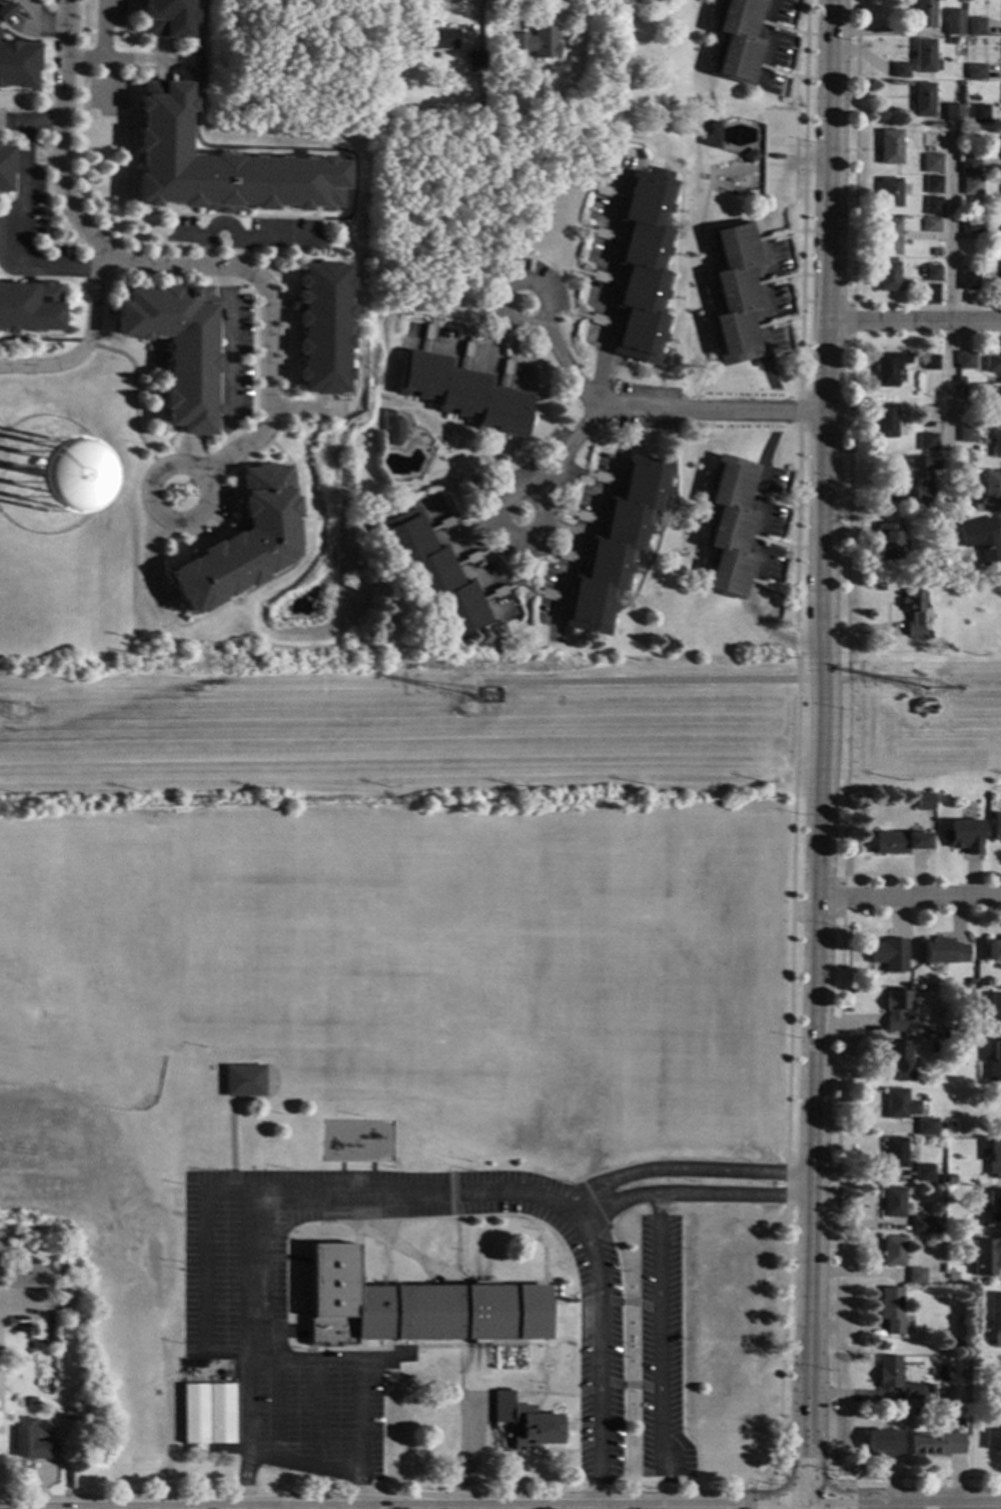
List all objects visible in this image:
road: (135, 2)
road: (7, 7)
road: (712, 8)
road: (32, 11)
building: (4, 12)
road: (126, 12)
building: (924, 13)
building: (167, 18)
building: (954, 20)
road: (54, 23)
road: (19, 25)
building: (974, 25)
building: (434, 39)
building: (736, 40)
building: (950, 40)
road: (770, 41)
building: (534, 42)
road: (198, 50)
road: (711, 51)
road: (103, 55)
building: (925, 55)
road: (84, 59)
road: (150, 60)
road: (166, 60)
building: (476, 60)
road: (703, 60)
road: (37, 61)
building: (17, 66)
building: (900, 69)
building: (975, 71)
building: (922, 99)
road: (30, 108)
building: (952, 112)
building: (978, 113)
road: (104, 117)
road: (12, 120)
road: (15, 121)
building: (965, 129)
building: (712, 137)
building: (889, 146)
road: (854, 151)
building: (750, 157)
road: (760, 157)
road: (774, 158)
road: (808, 158)
road: (744, 160)
building: (930, 162)
road: (661, 164)
road: (669, 164)
building: (968, 164)
building: (220, 166)
building: (4, 167)
road: (14, 172)
building: (932, 184)
building: (970, 184)
building: (888, 191)
road: (803, 199)
building: (931, 205)
road: (24, 206)
road: (675, 211)
road: (300, 216)
building: (902, 220)
building: (999, 220)
building: (930, 224)
building: (971, 224)
road: (218, 226)
road: (291, 232)
building: (887, 235)
road: (189, 237)
road: (279, 241)
road: (763, 250)
building: (934, 251)
road: (708, 253)
road: (255, 254)
road: (673, 254)
building: (644, 265)
building: (1000, 265)
road: (167, 266)
road: (291, 267)
building: (932, 272)
road: (553, 276)
building: (886, 276)
road: (34, 277)
building: (968, 280)
road: (613, 283)
road: (267, 285)
road: (950, 289)
road: (241, 291)
building: (733, 294)
road: (707, 296)
road: (670, 297)
road: (704, 299)
road: (214, 301)
road: (847, 302)
road: (232, 303)
building: (29, 306)
road: (556, 309)
road: (467, 318)
road: (915, 320)
road: (359, 321)
road: (511, 324)
building: (323, 328)
road: (665, 340)
road: (707, 340)
road: (87, 341)
road: (492, 342)
building: (178, 349)
road: (125, 355)
building: (965, 359)
road: (227, 360)
building: (993, 361)
building: (929, 362)
road: (565, 363)
road: (469, 365)
building: (888, 367)
building: (960, 378)
building: (969, 391)
building: (464, 394)
building: (998, 400)
road: (324, 402)
road: (415, 403)
road: (304, 408)
road: (403, 408)
road: (658, 408)
road: (393, 410)
road: (805, 412)
building: (887, 420)
building: (391, 428)
road: (741, 428)
road: (433, 434)
building: (967, 434)
road: (11, 437)
road: (429, 437)
building: (926, 441)
building: (996, 443)
road: (491, 444)
road: (191, 450)
road: (466, 450)
road: (474, 452)
road: (567, 466)
water tower: (41, 468)
building: (949, 477)
building: (919, 478)
road: (704, 480)
building: (992, 487)
road: (697, 491)
road: (671, 492)
building: (965, 501)
road: (479, 512)
road: (668, 517)
road: (195, 518)
road: (364, 523)
road: (703, 523)
building: (729, 528)
road: (561, 530)
road: (471, 531)
road: (501, 532)
road: (654, 532)
building: (982, 538)
road: (540, 539)
building: (889, 539)
road: (499, 542)
building: (239, 544)
road: (581, 544)
building: (615, 545)
road: (379, 553)
road: (760, 559)
road: (149, 567)
road: (287, 567)
road: (520, 567)
road: (461, 569)
road: (637, 571)
building: (431, 573)
road: (513, 585)
road: (403, 588)
road: (164, 599)
road: (847, 610)
building: (914, 611)
building: (946, 646)
road: (699, 679)
power tower: (926, 694)
power tower: (466, 701)
power tower: (17, 717)
road: (500, 728)
road: (821, 754)
building: (920, 801)
building: (995, 826)
building: (962, 835)
building: (897, 841)
park: (9, 885)
park: (63, 886)
road: (842, 897)
road: (909, 899)
park: (145, 909)
park: (245, 924)
park: (355, 936)
park: (488, 949)
building: (992, 949)
building: (941, 950)
building: (888, 953)
road: (789, 954)
building: (967, 981)
building: (992, 1005)
building: (894, 1007)
park: (9, 1017)
park: (53, 1017)
building: (935, 1032)
building: (933, 1047)
park: (110, 1050)
building: (899, 1058)
building: (994, 1060)
building: (243, 1081)
building: (899, 1103)
road: (229, 1110)
building: (948, 1124)
building: (919, 1125)
building: (895, 1152)
building: (994, 1158)
building: (942, 1169)
building: (924, 1172)
road: (256, 1194)
road: (454, 1194)
road: (617, 1200)
building: (893, 1201)
building: (991, 1210)
building: (923, 1224)
building: (939, 1226)
road: (546, 1227)
road: (583, 1230)
road: (456, 1248)
building: (892, 1250)
road: (385, 1251)
road: (410, 1253)
building: (986, 1255)
road: (277, 1257)
road: (203, 1273)
building: (953, 1273)
road: (657, 1274)
building: (916, 1275)
building: (25, 1276)
road: (835, 1280)
road: (511, 1282)
road: (587, 1287)
road: (628, 1303)
building: (413, 1306)
building: (891, 1309)
building: (994, 1315)
road: (550, 1317)
road: (563, 1323)
building: (18, 1326)
road: (588, 1344)
building: (959, 1344)
road: (543, 1351)
road: (544, 1373)
road: (358, 1376)
building: (895, 1376)
road: (629, 1385)
building: (927, 1391)
road: (587, 1392)
road: (541, 1393)
road: (542, 1394)
building: (32, 1401)
road: (274, 1409)
road: (316, 1413)
building: (193, 1414)
building: (219, 1414)
building: (901, 1416)
building: (525, 1422)
building: (993, 1433)
building: (28, 1441)
building: (883, 1441)
building: (936, 1443)
road: (587, 1447)
road: (554, 1451)
road: (468, 1452)
road: (301, 1465)
road: (831, 1480)
road: (805, 1483)
road: (500, 1507)
road: (298, 1508)
road: (879, 1508)

